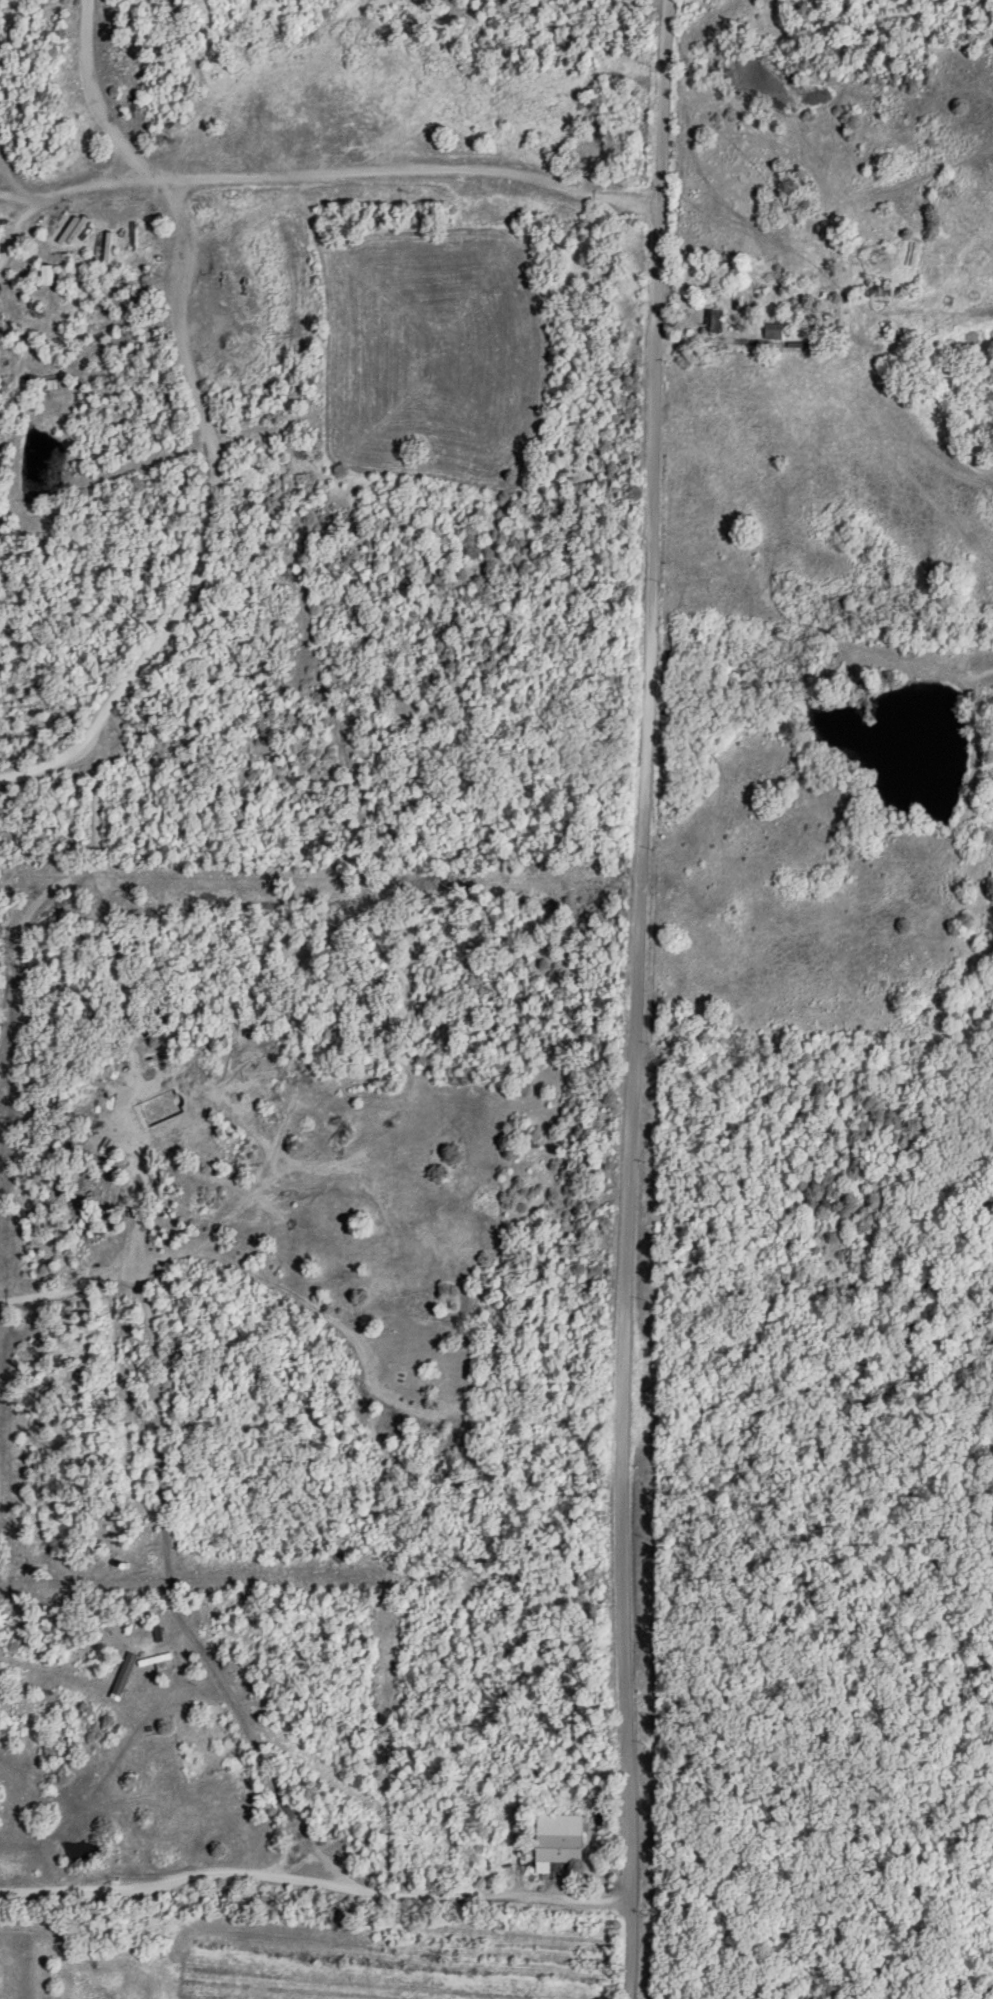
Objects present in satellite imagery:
road: (8, 167)
road: (332, 177)
road: (21, 217)
building: (874, 251)
building: (879, 287)
building: (715, 319)
building: (775, 330)
road: (206, 427)
road: (26, 929)
road: (643, 999)
road: (77, 1287)
road: (157, 1342)
building: (159, 1633)
building: (156, 1660)
building: (559, 1839)
road: (175, 1887)
road: (492, 1898)

